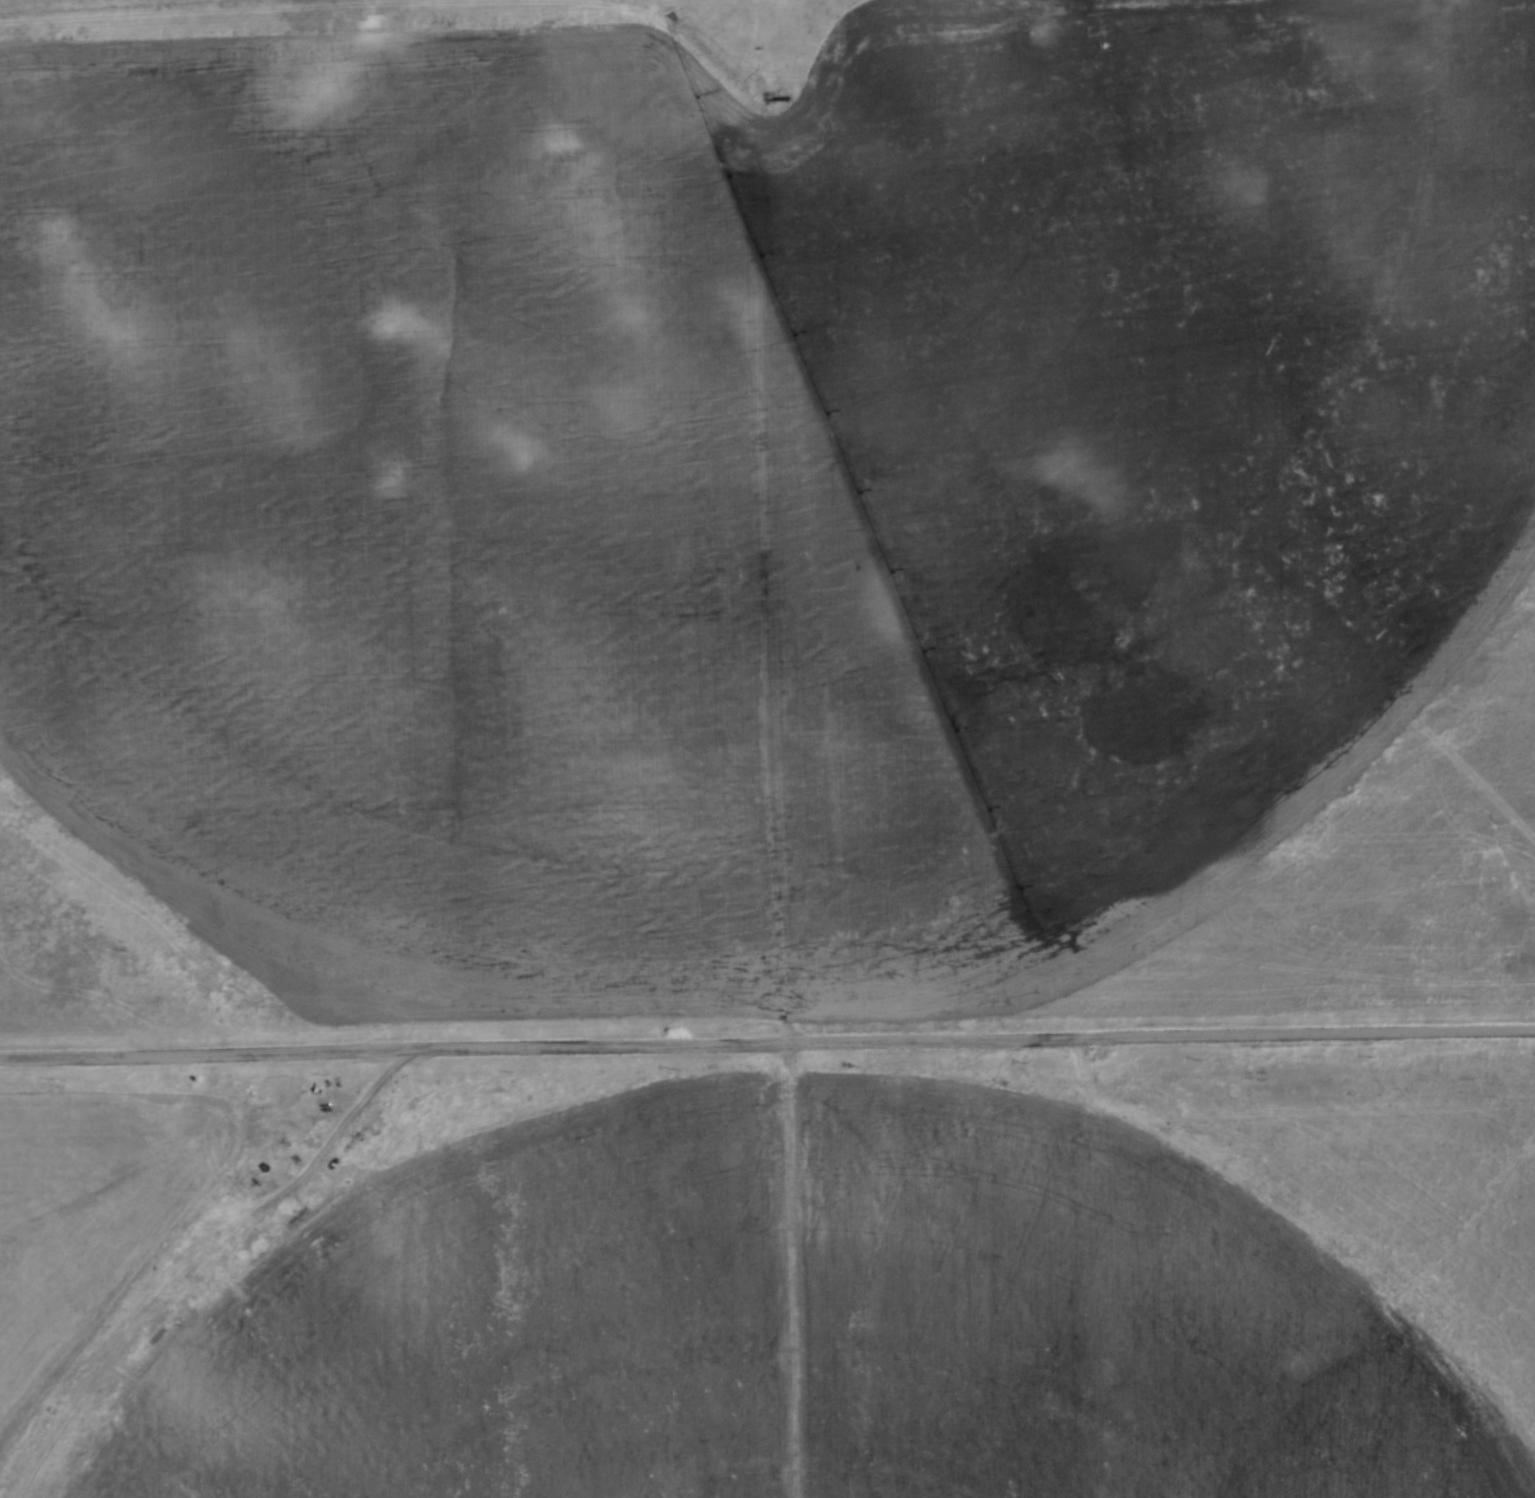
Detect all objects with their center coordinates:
crop: (772, 514)
road: (767, 1041)
crop: (97, 1212)
crop: (882, 1297)

